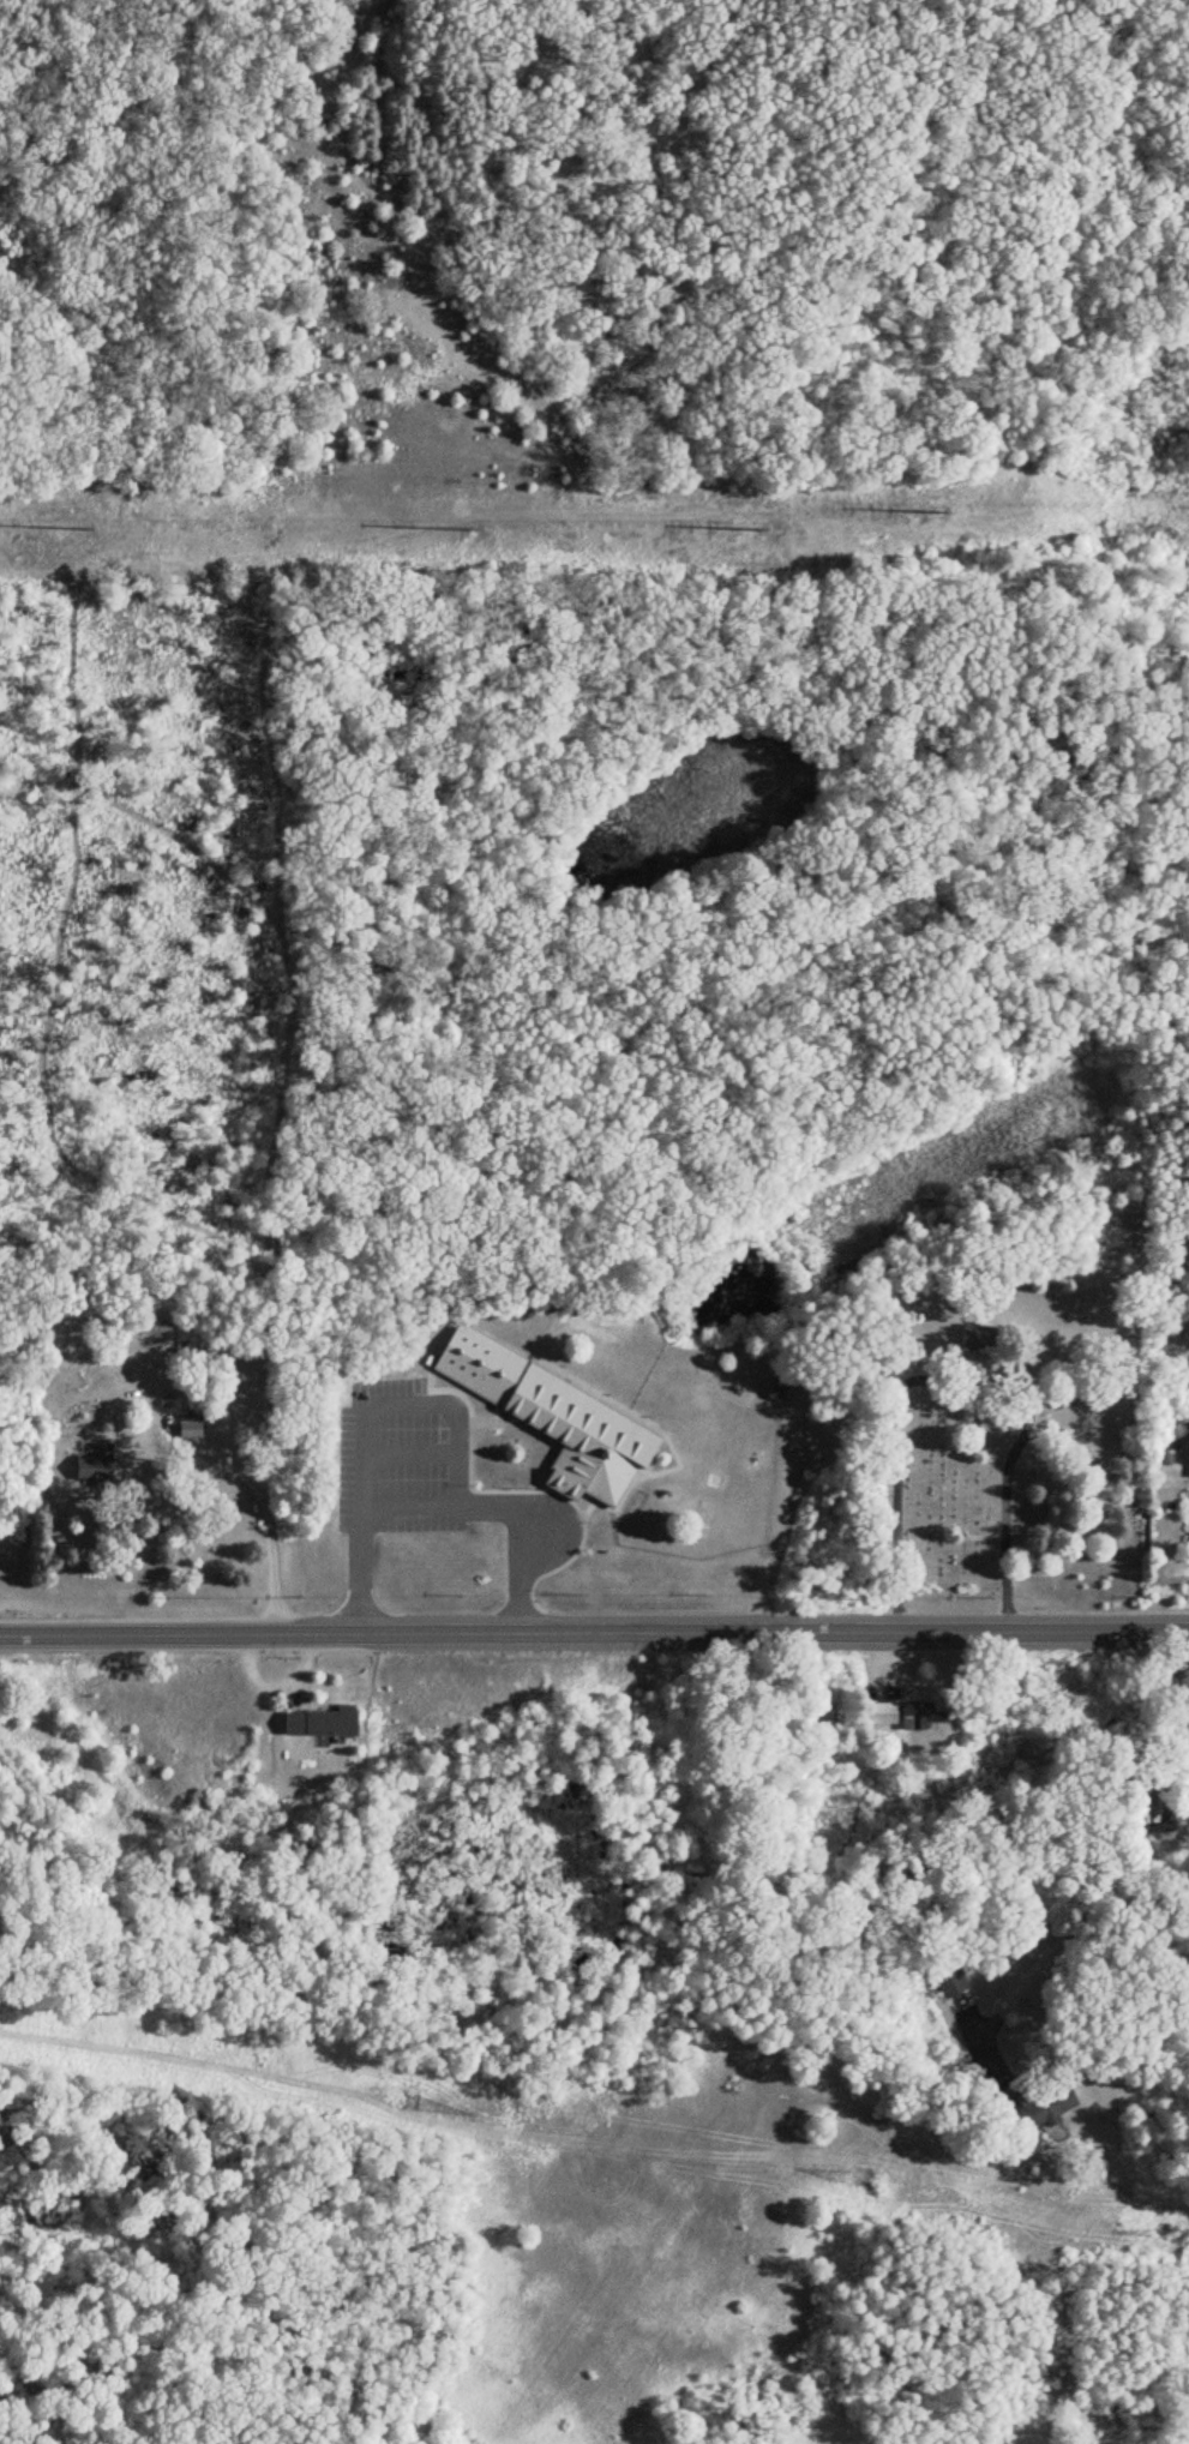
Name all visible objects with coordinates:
power tower: (935, 512)
power tower: (755, 528)
power tower: (464, 529)
power tower: (80, 532)
building: (975, 1339)
road: (955, 1376)
building: (774, 1393)
road: (454, 1403)
building: (552, 1419)
building: (187, 1430)
park: (1002, 1440)
road: (414, 1447)
road: (366, 1458)
building: (94, 1465)
road: (260, 1488)
road: (442, 1497)
road: (594, 1632)
road: (1185, 1662)
building: (878, 1715)
building: (917, 1716)
building: (319, 1724)
road: (1086, 1914)
power tower: (407, 2104)
power tower: (859, 2178)
power tower: (1184, 2236)

